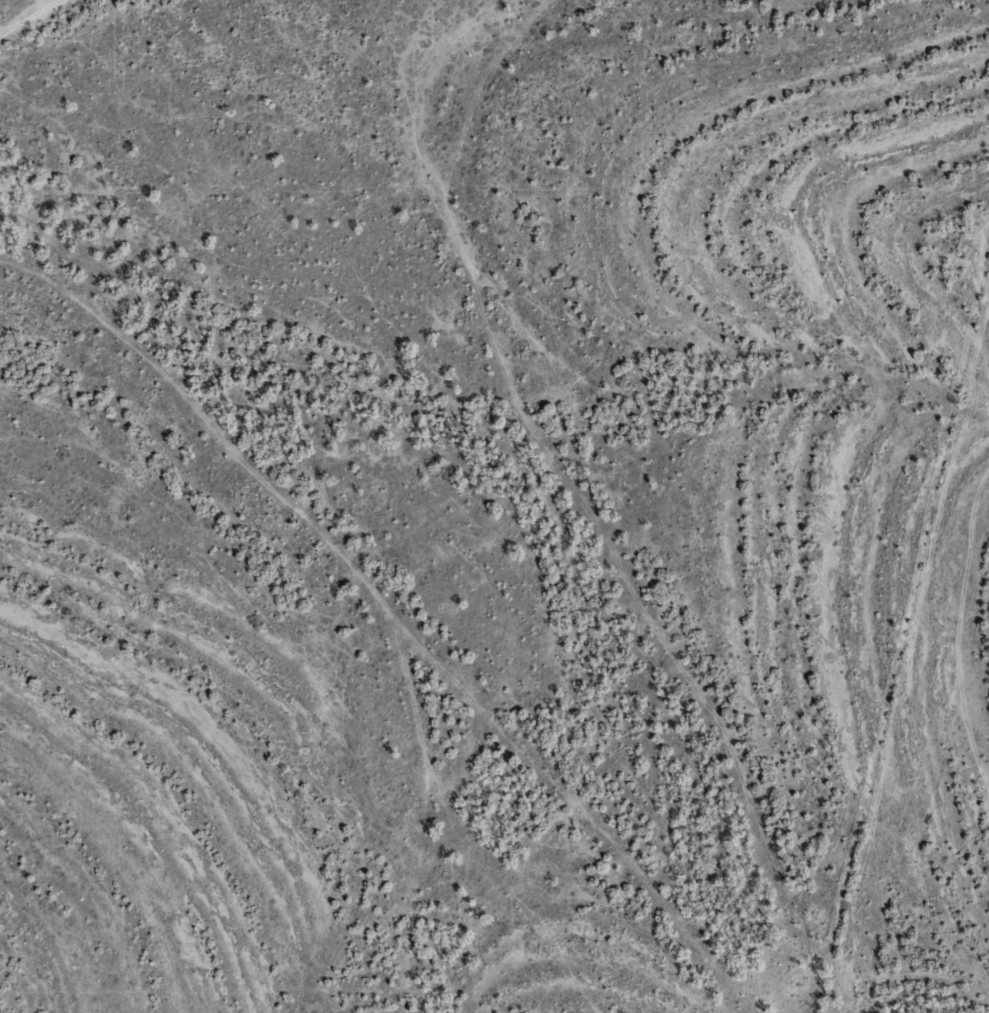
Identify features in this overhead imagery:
road: (22, 6)

